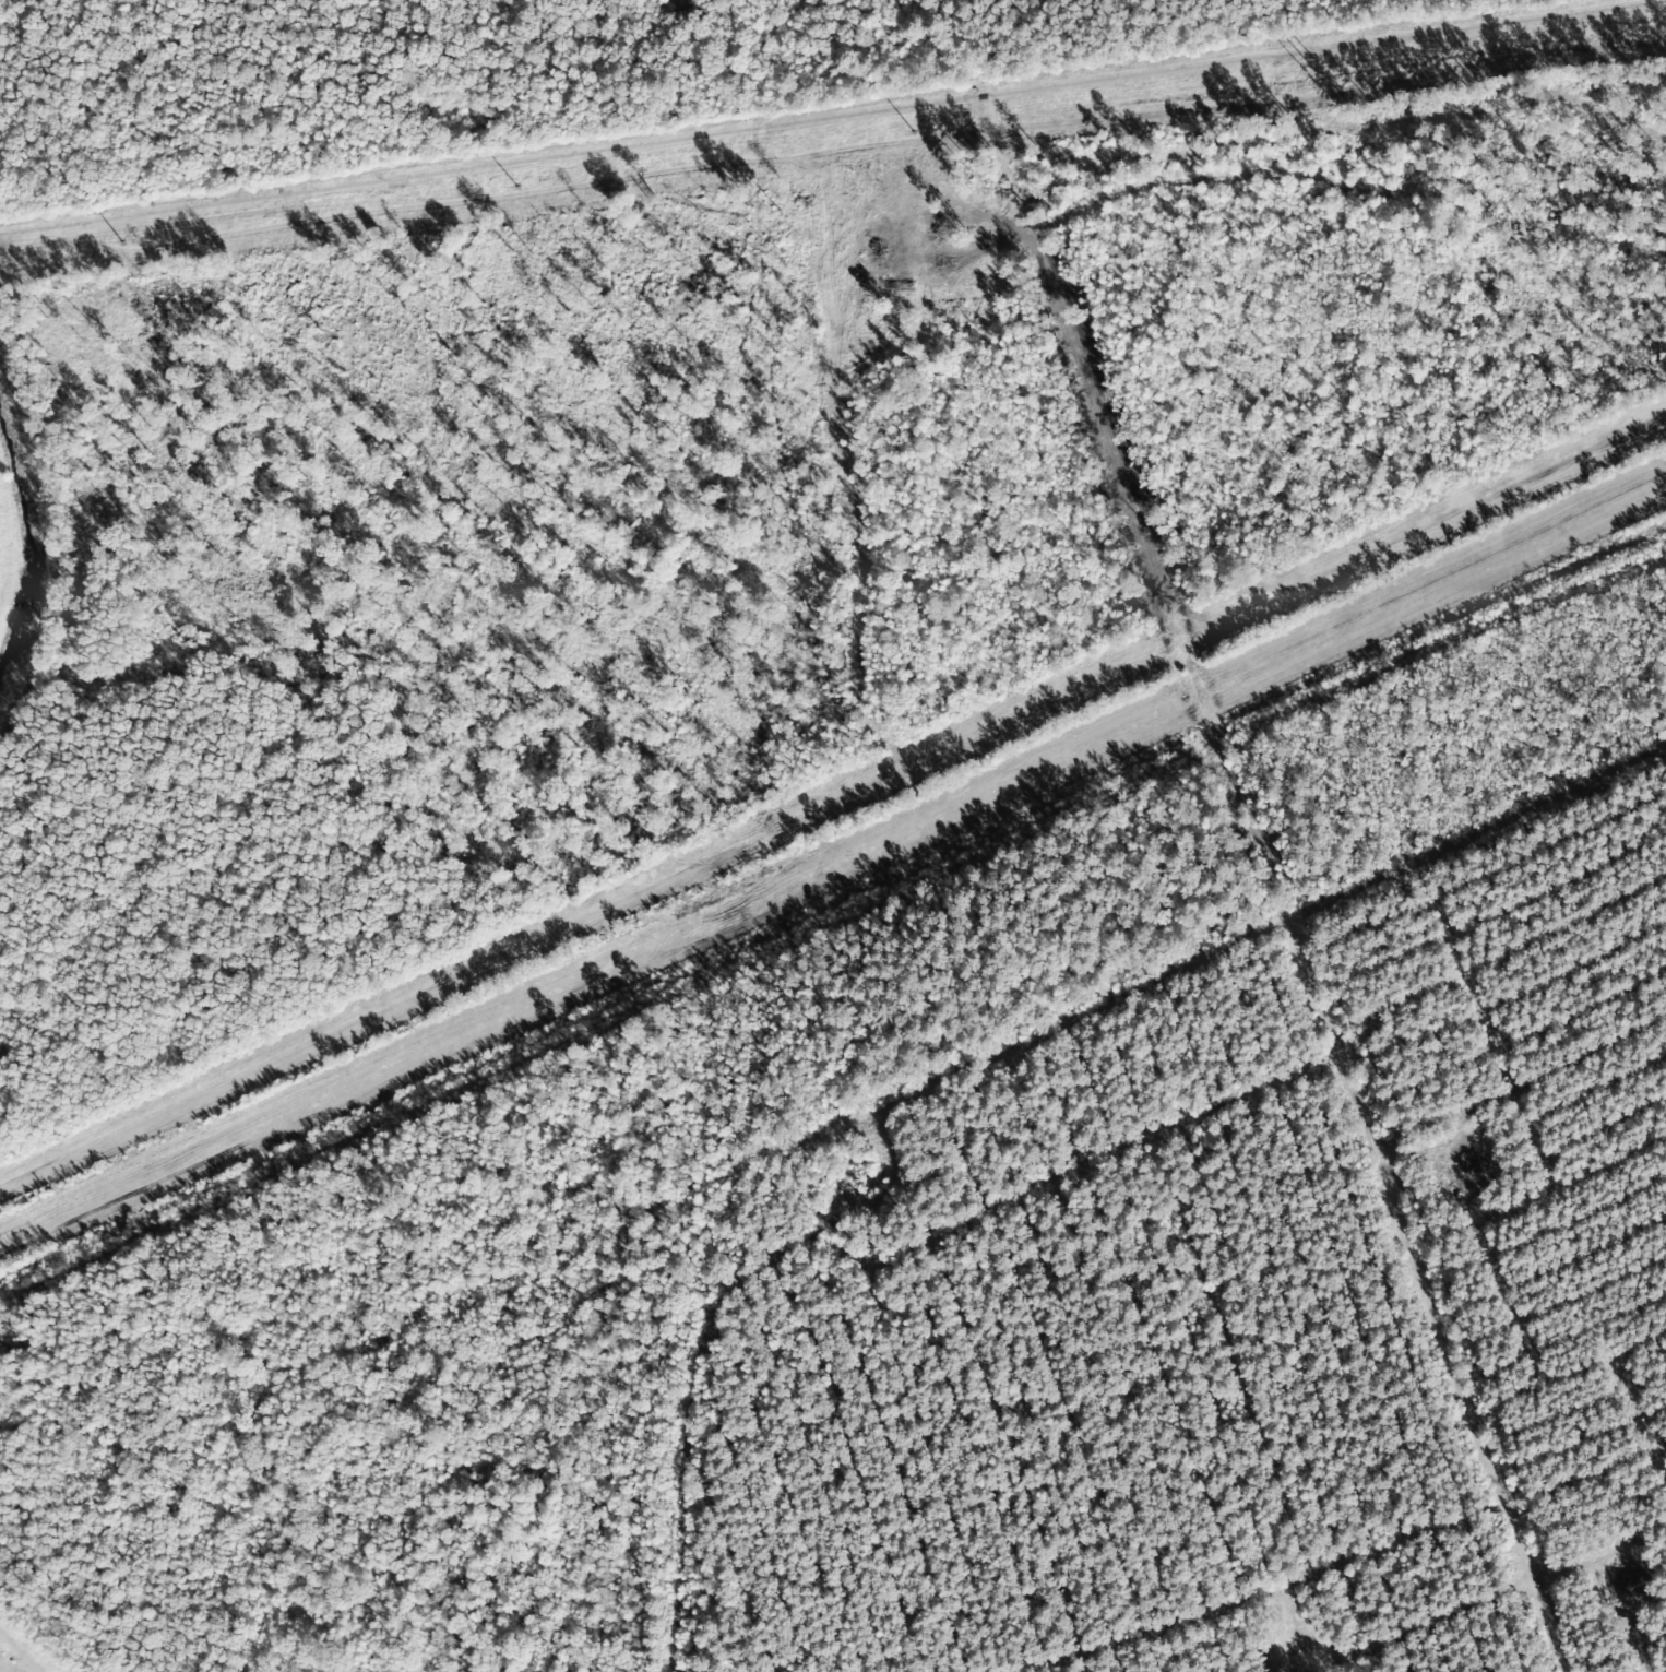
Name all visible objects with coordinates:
power tower: (1319, 80)

